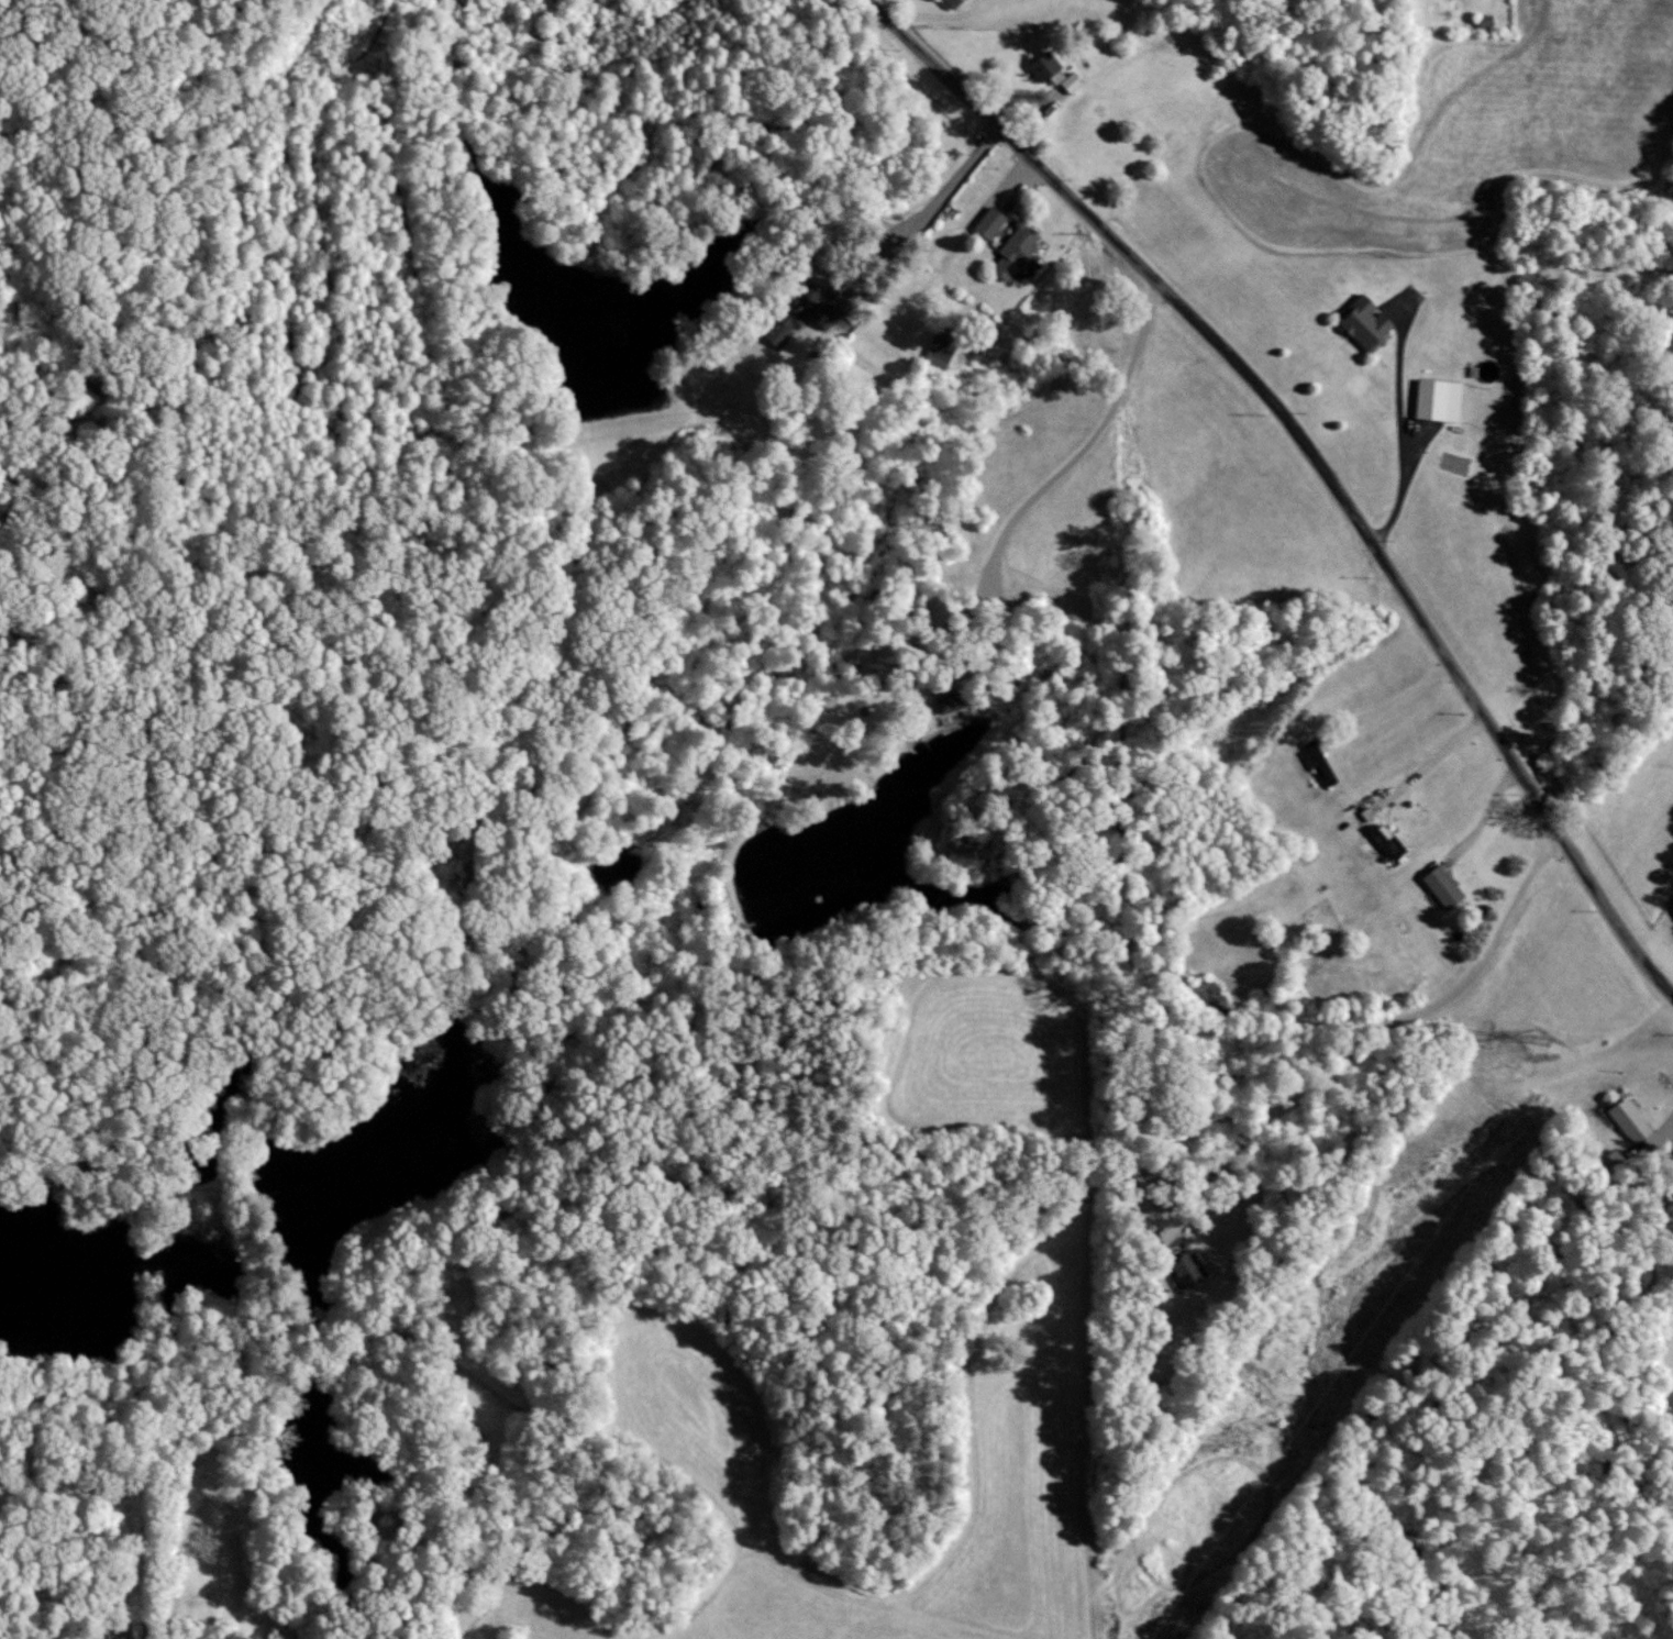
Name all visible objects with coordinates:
building: (948, 2)
road: (940, 14)
building: (1041, 64)
building: (1054, 75)
building: (1067, 82)
road: (908, 219)
building: (986, 222)
building: (1012, 251)
building: (789, 312)
building: (1361, 322)
building: (935, 354)
building: (1434, 399)
road: (1394, 439)
road: (1318, 455)
road: (1056, 473)
building: (946, 702)
road: (1385, 705)
road: (1426, 761)
building: (1318, 765)
road: (1487, 812)
building: (1384, 840)
building: (1439, 886)
road: (1364, 1031)
power tower: (1540, 1036)
building: (1626, 1118)
road: (1660, 1121)
building: (1183, 1266)
road: (47, 1591)

